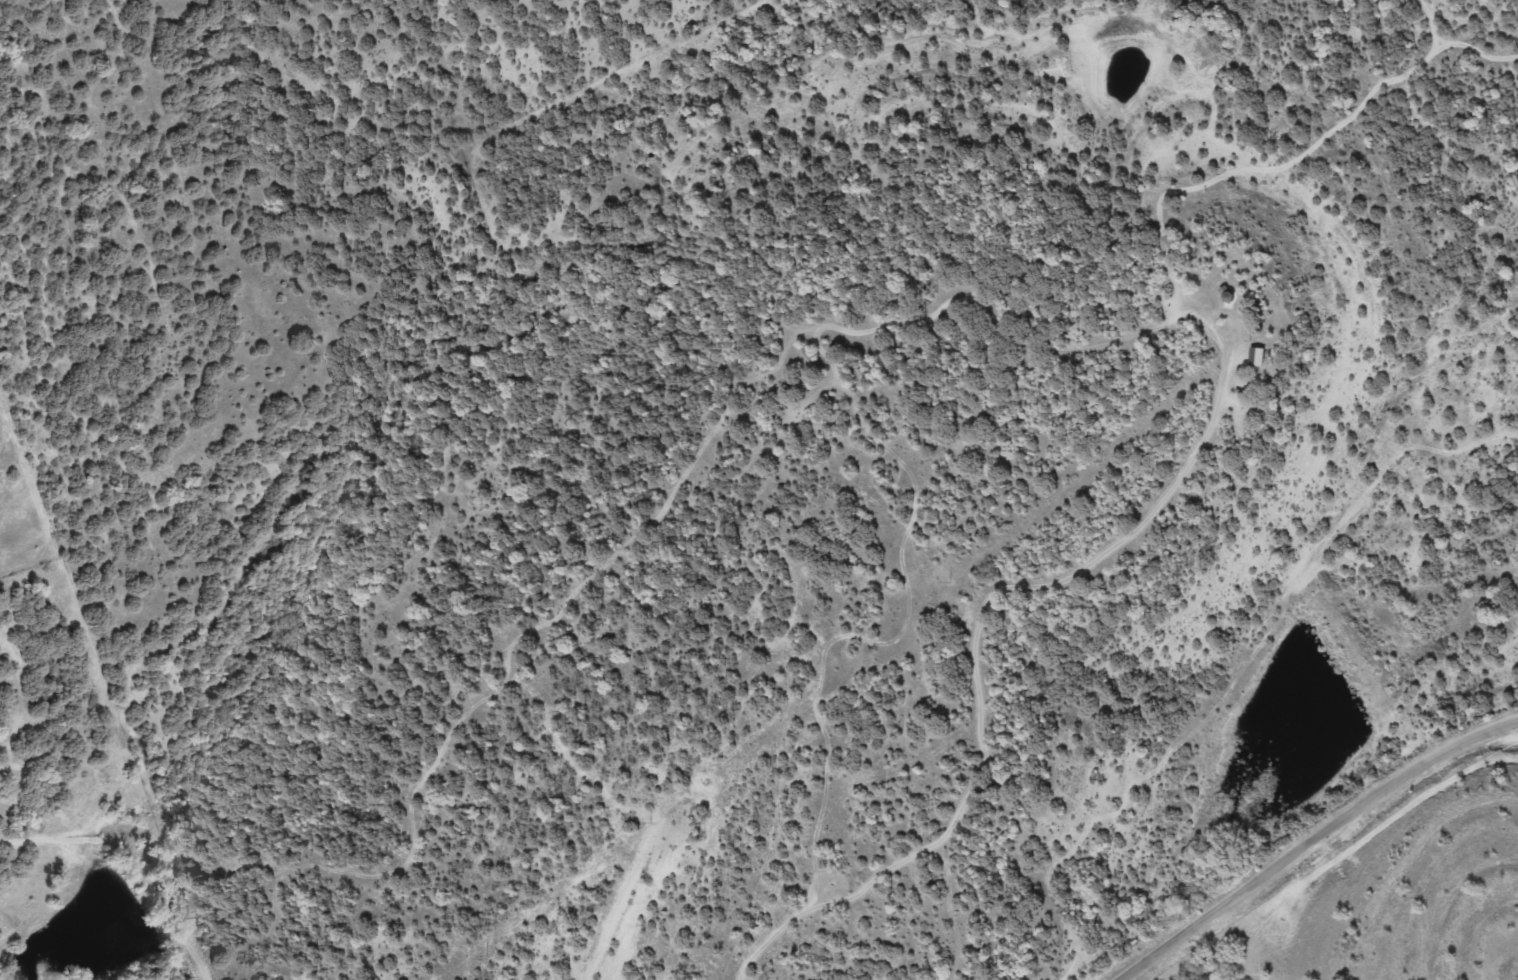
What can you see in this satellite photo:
road: (824, 769)
road: (1312, 839)

